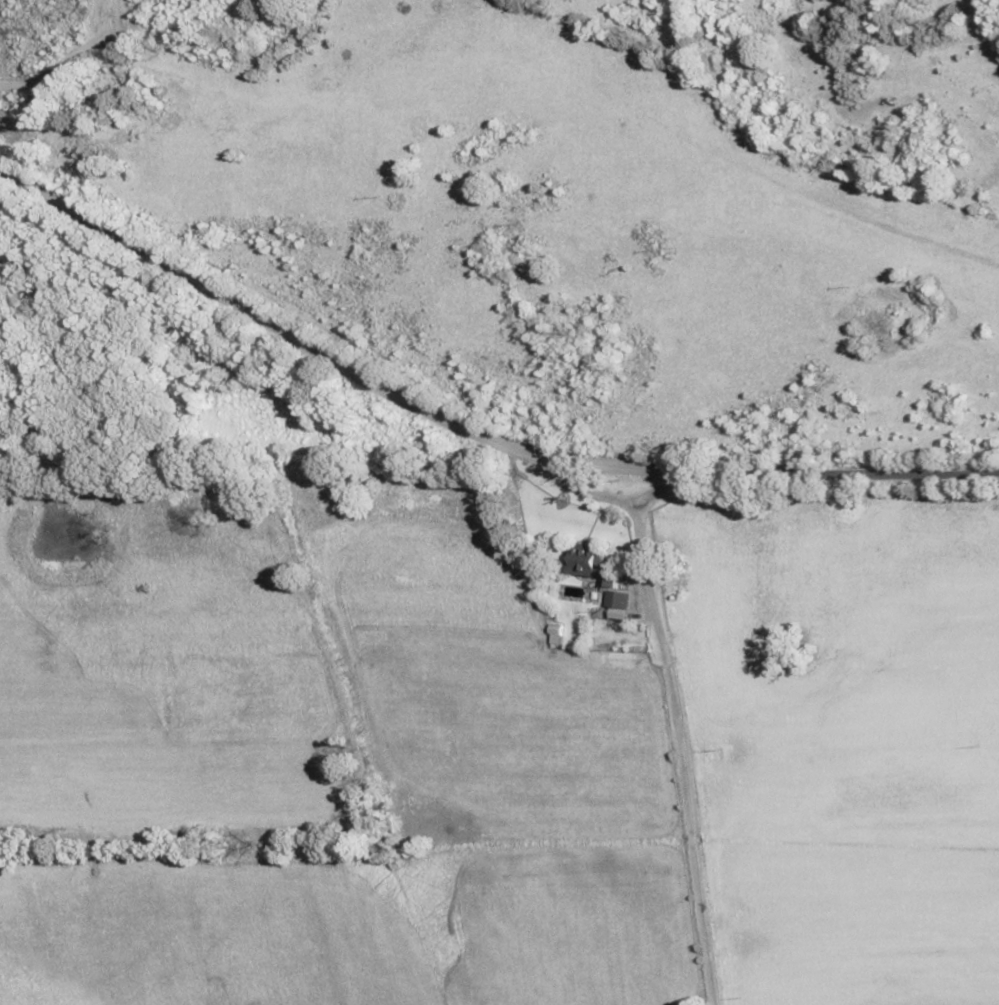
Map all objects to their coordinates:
road: (467, 425)
building: (588, 562)
building: (617, 603)
building: (555, 633)

